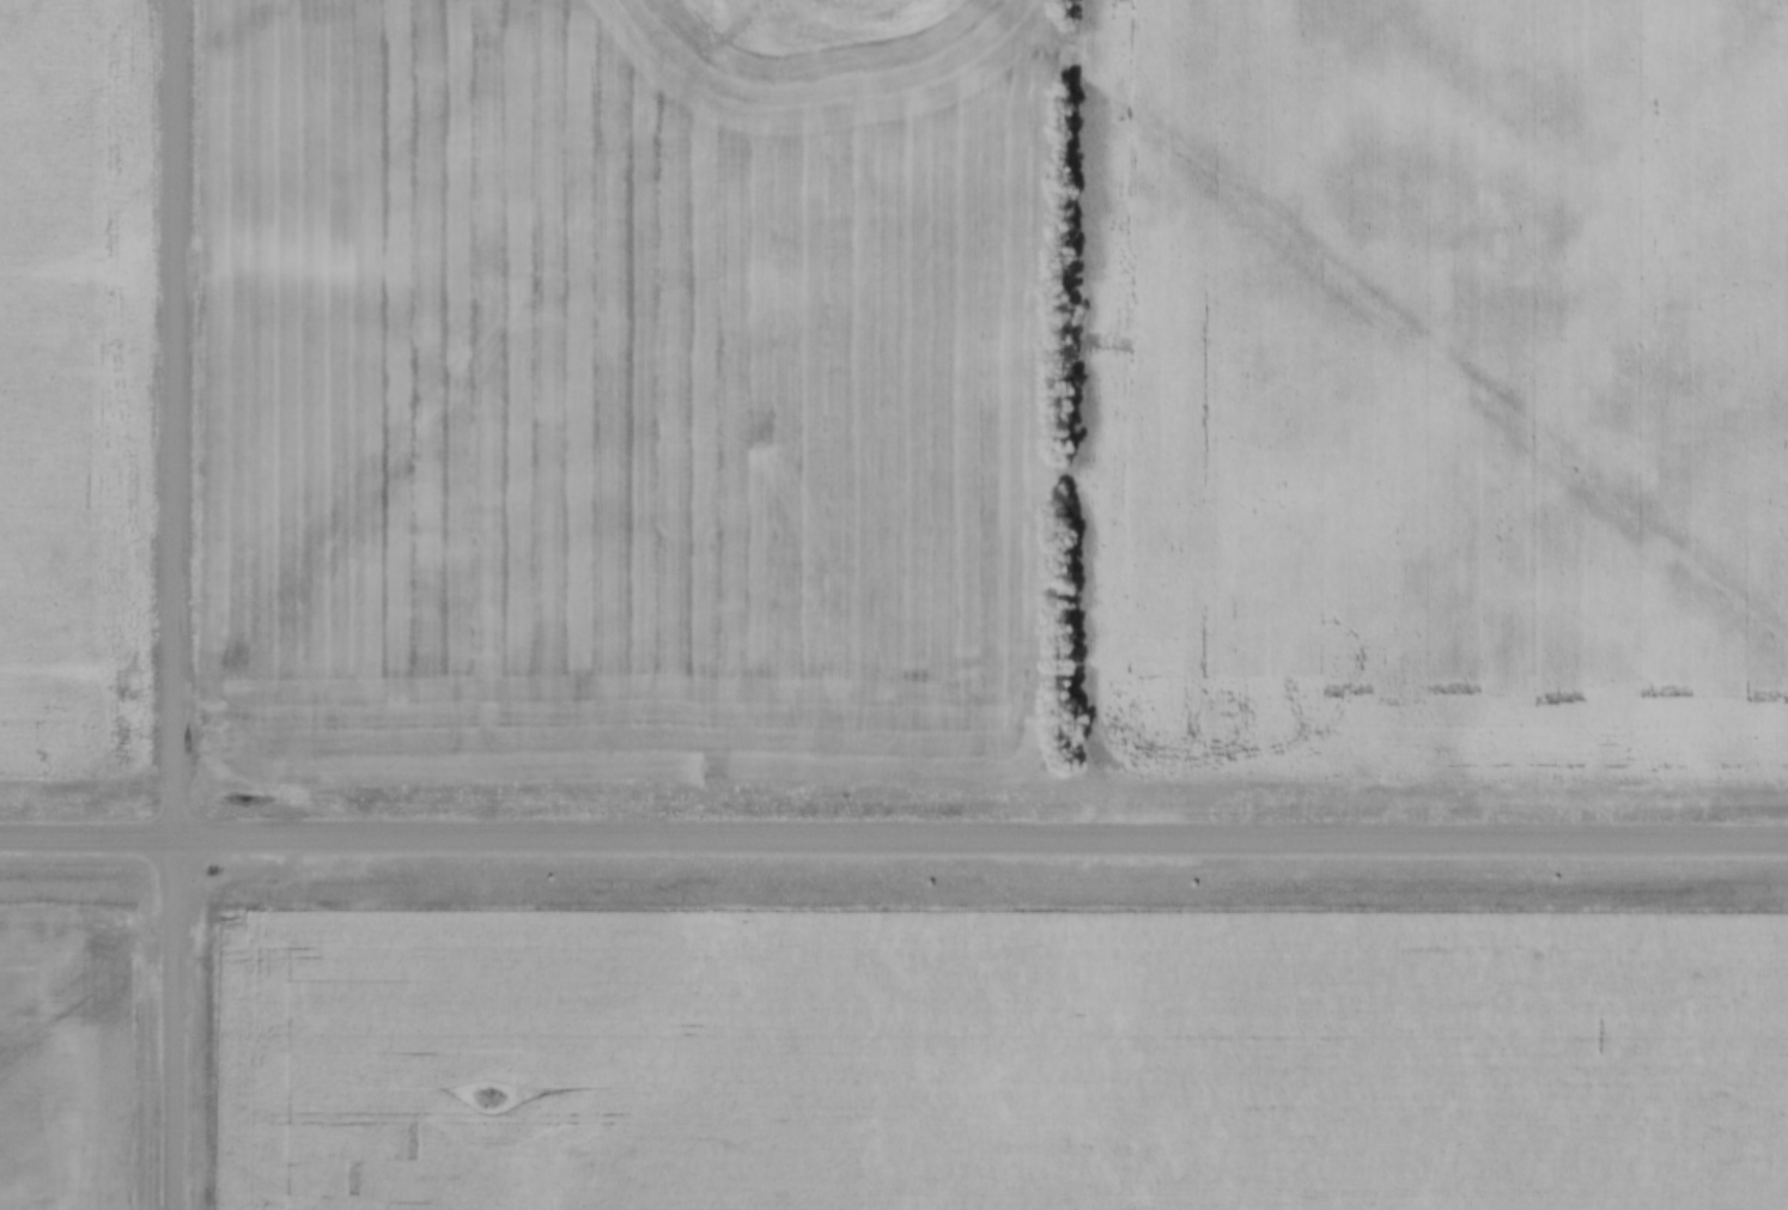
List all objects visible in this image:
road: (182, 419)
road: (893, 839)
road: (178, 1023)

